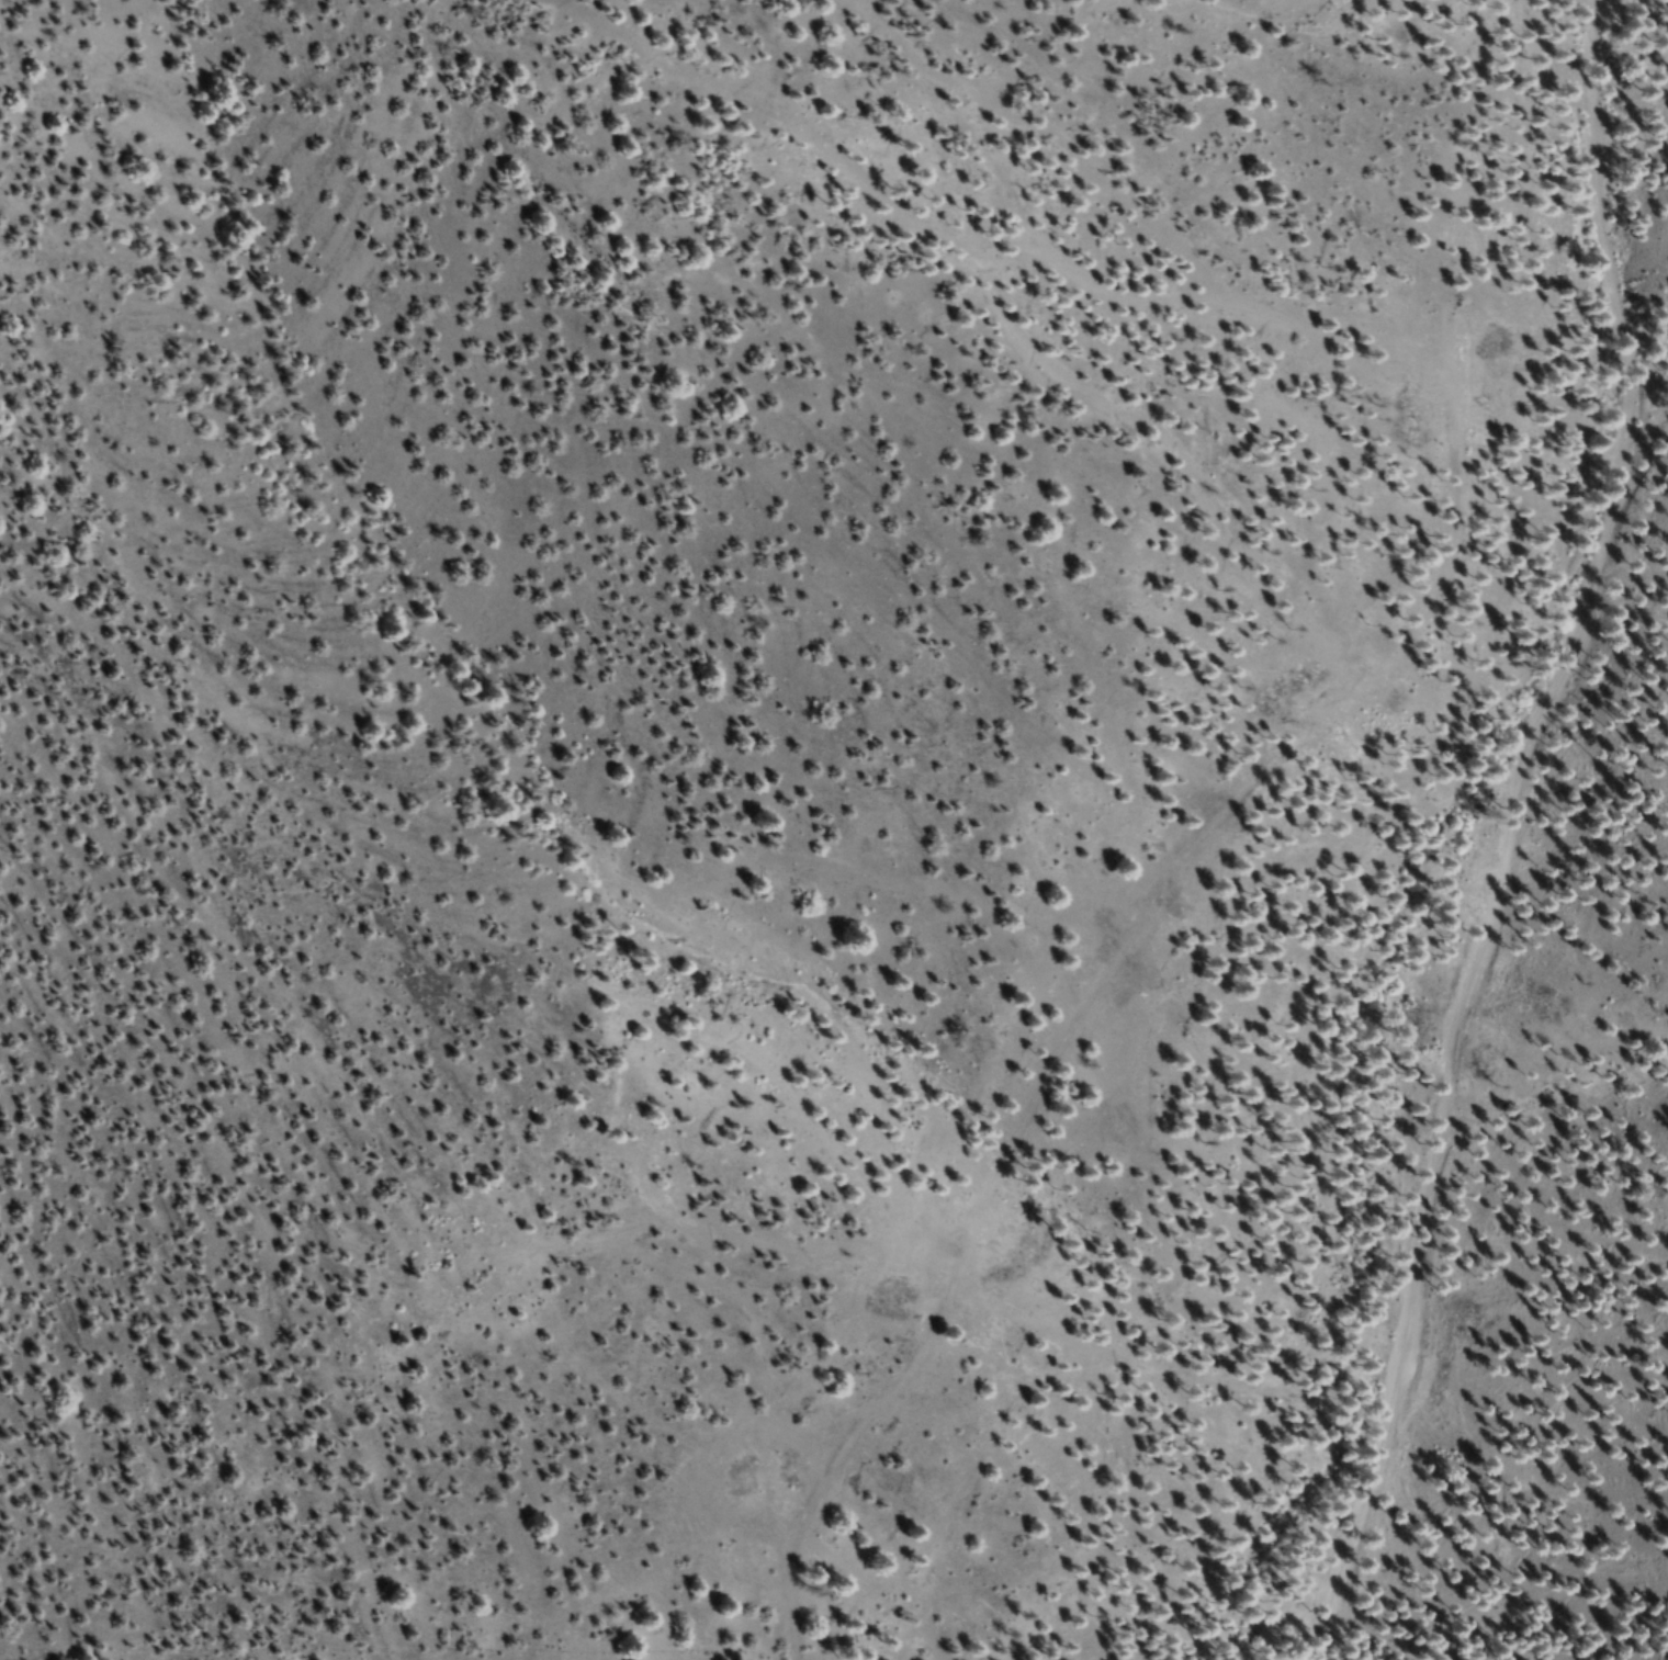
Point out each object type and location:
road: (1584, 839)

